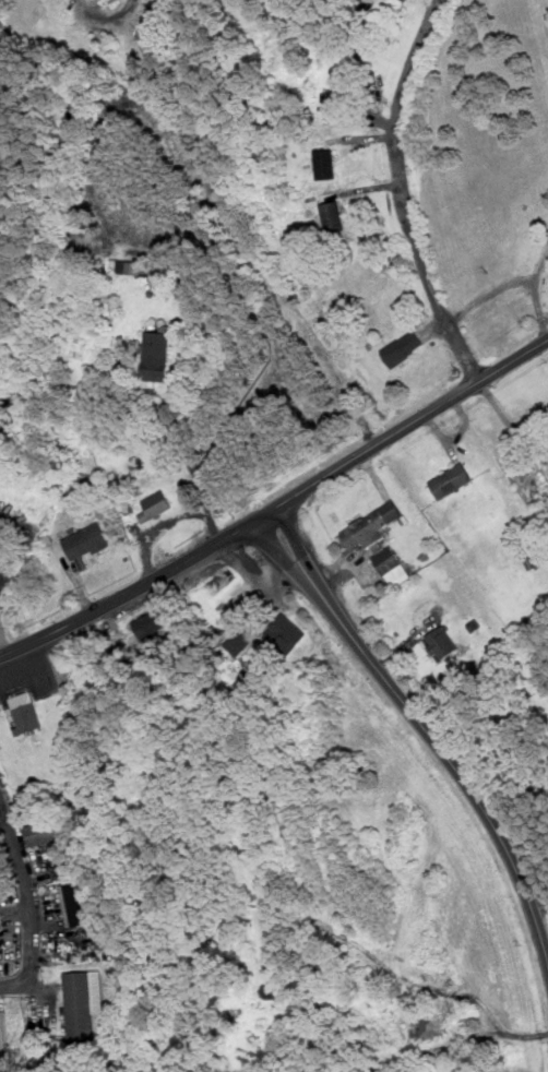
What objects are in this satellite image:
building: (365, 3)
building: (341, 94)
building: (326, 163)
road: (398, 196)
building: (333, 216)
building: (129, 266)
road: (540, 266)
road: (513, 281)
building: (404, 347)
building: (157, 354)
road: (510, 424)
road: (183, 442)
building: (452, 480)
building: (156, 504)
road: (277, 505)
building: (370, 526)
building: (87, 541)
building: (391, 563)
building: (151, 623)
building: (286, 632)
building: (442, 643)
building: (25, 712)
road: (421, 727)
building: (47, 831)
road: (29, 898)
building: (78, 903)
building: (1, 928)
building: (83, 1004)
building: (432, 1025)
building: (4, 1029)

